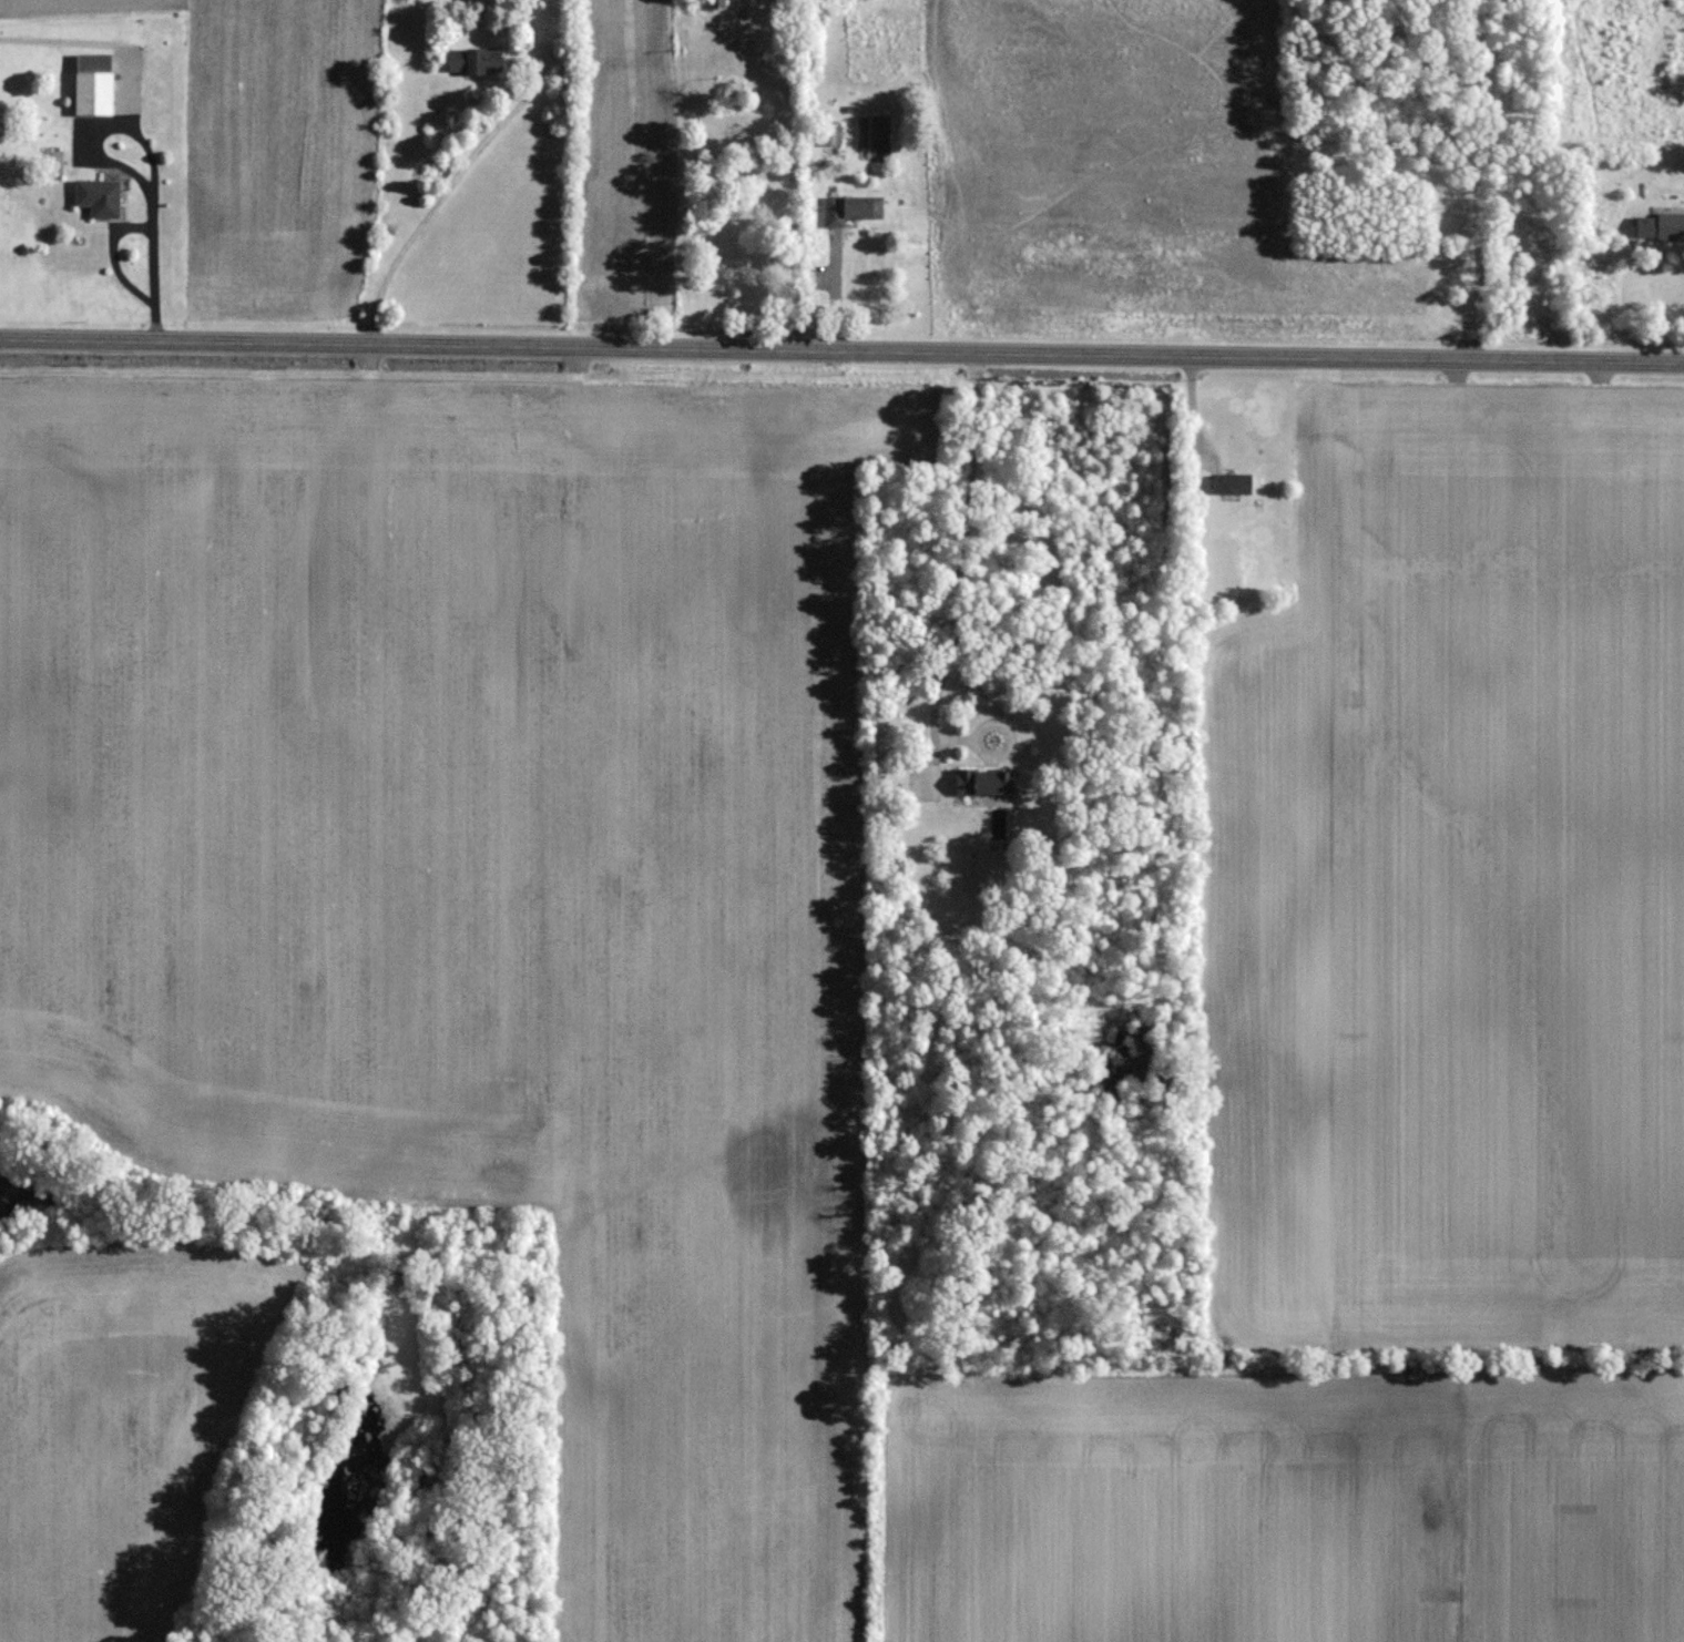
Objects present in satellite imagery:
building: (718, 3)
building: (474, 60)
building: (93, 83)
building: (833, 134)
road: (795, 163)
building: (98, 196)
road: (441, 197)
building: (851, 207)
building: (1670, 225)
road: (841, 350)
building: (1231, 481)
road: (960, 571)
road: (991, 723)
road: (957, 737)
building: (984, 781)

